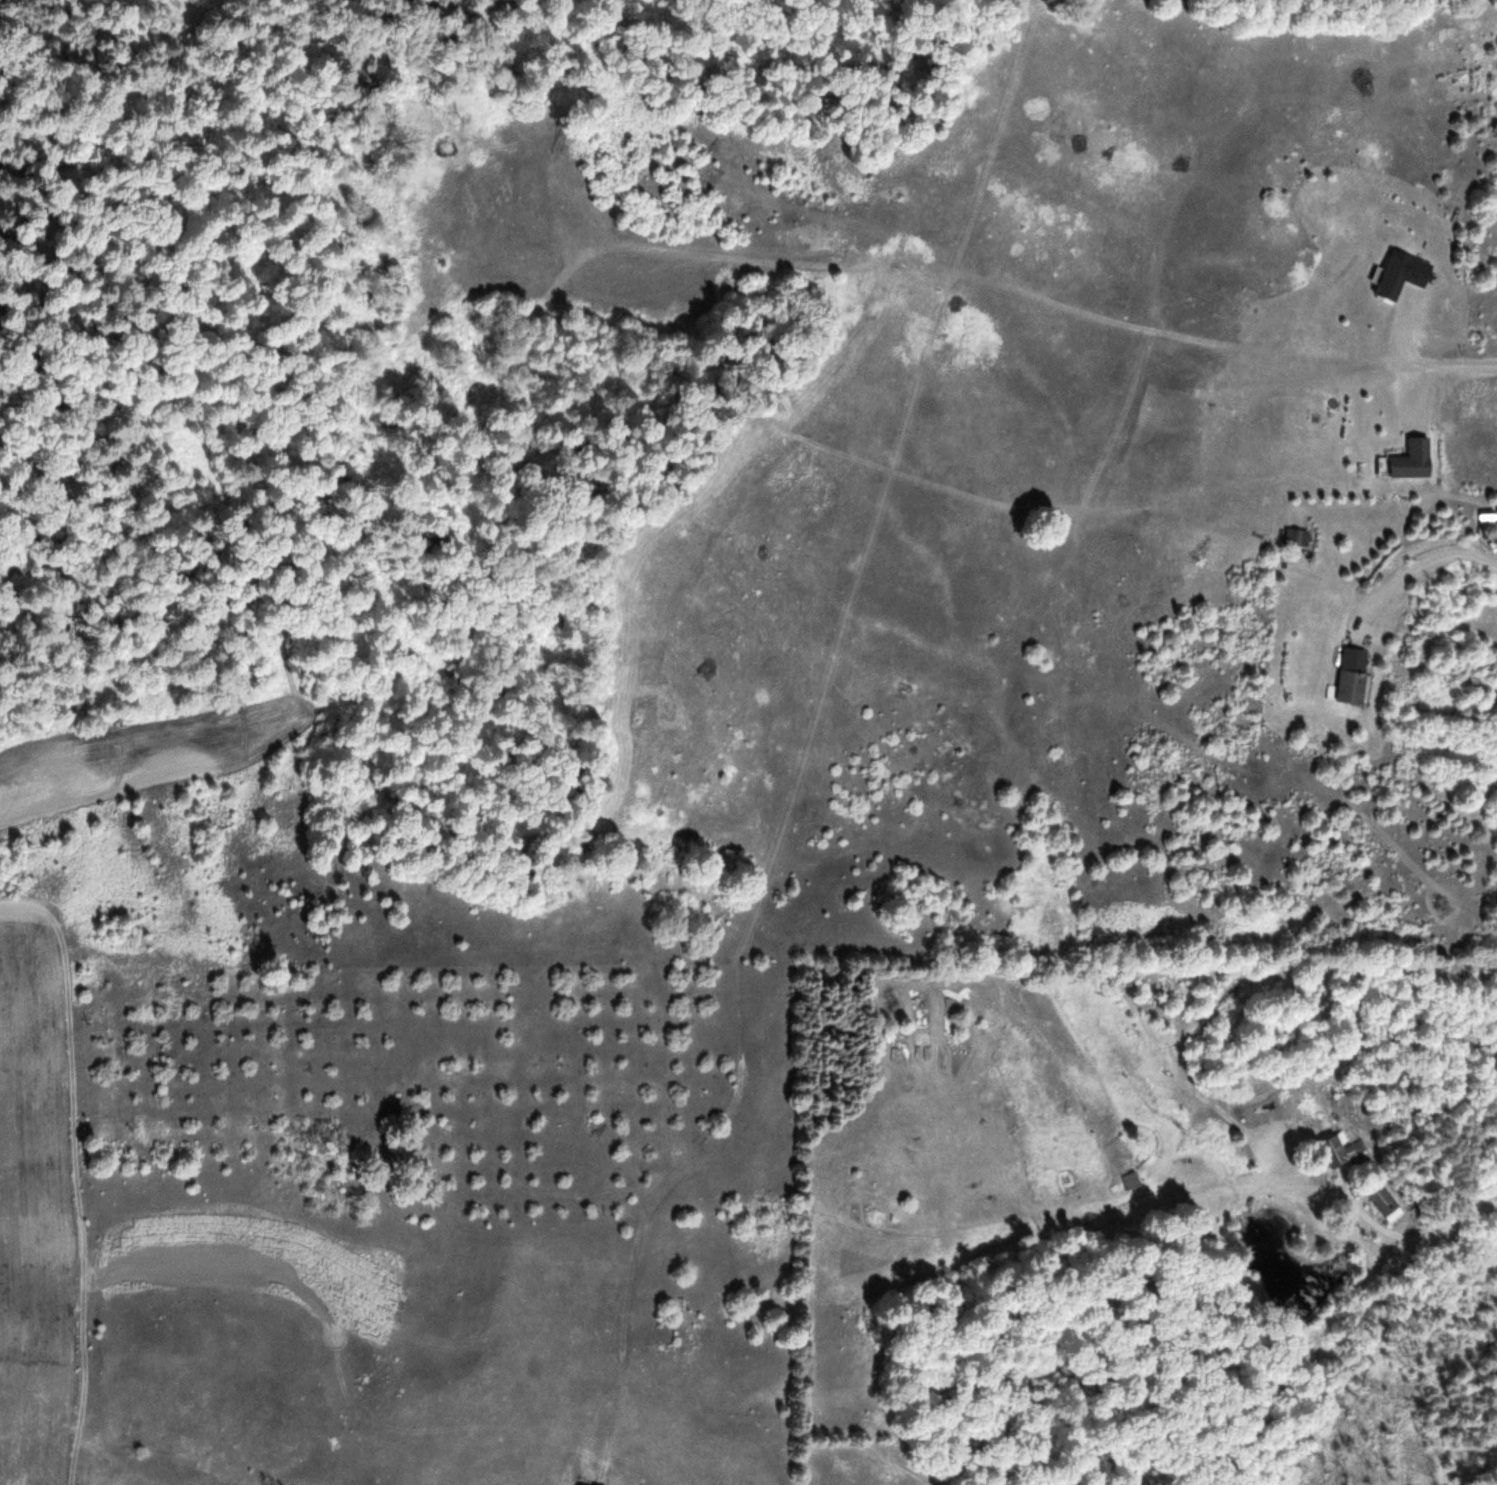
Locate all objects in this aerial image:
building: (1402, 274)
building: (1408, 462)
building: (1295, 537)
building: (1353, 676)
building: (1343, 1152)
building: (1133, 1181)
building: (1382, 1200)
road: (1374, 1234)

